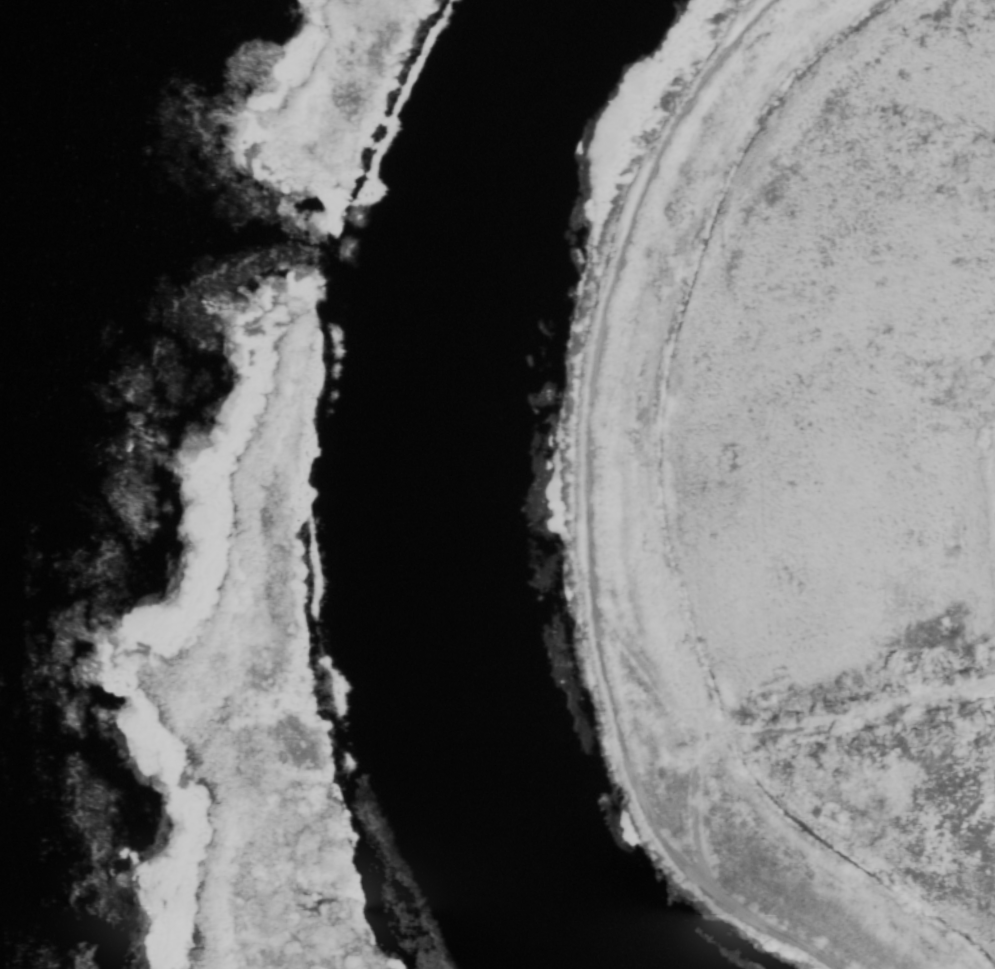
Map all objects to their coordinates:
crop: (838, 483)
river: (428, 488)

